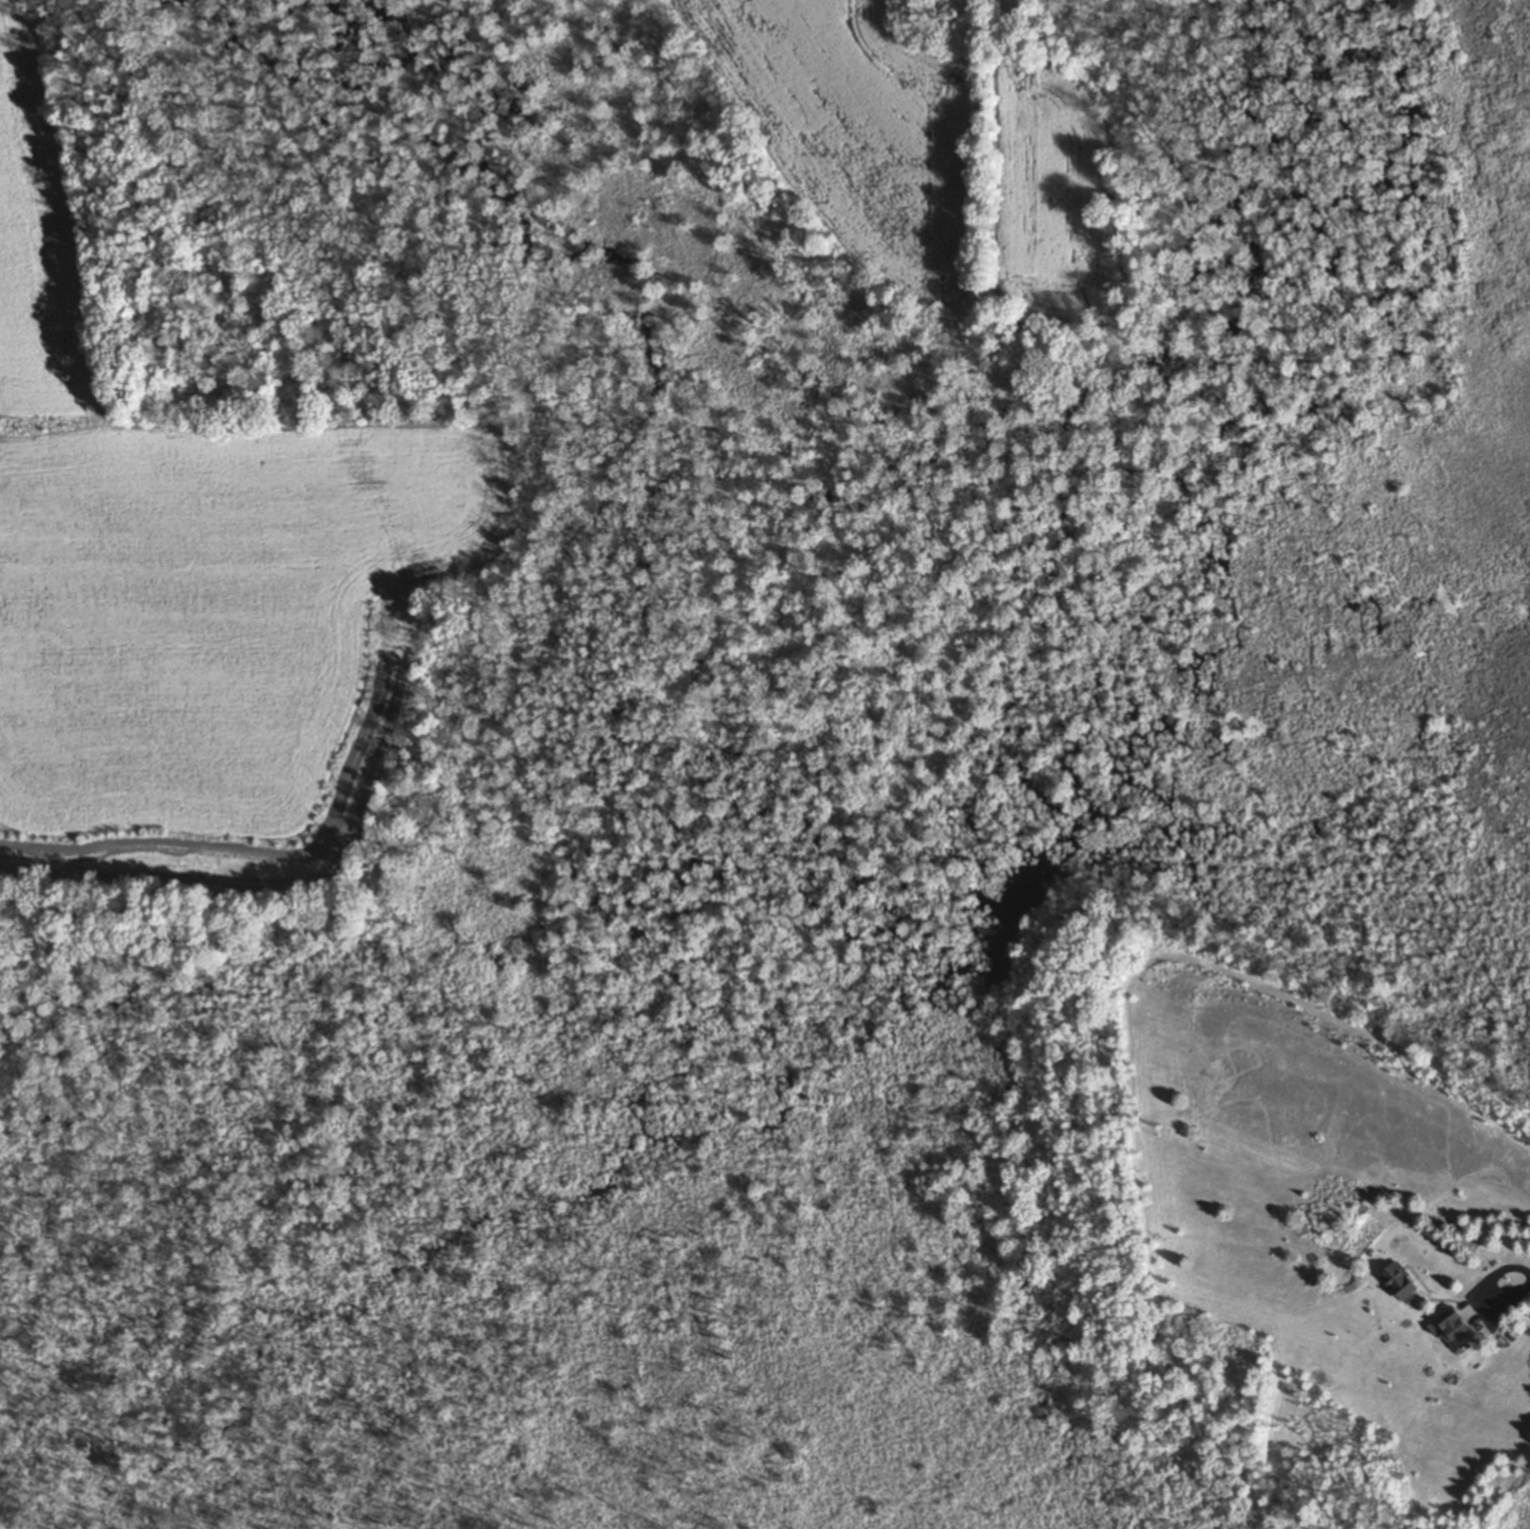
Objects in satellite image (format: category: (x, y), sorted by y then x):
building: (1395, 1284)
building: (1451, 1329)

